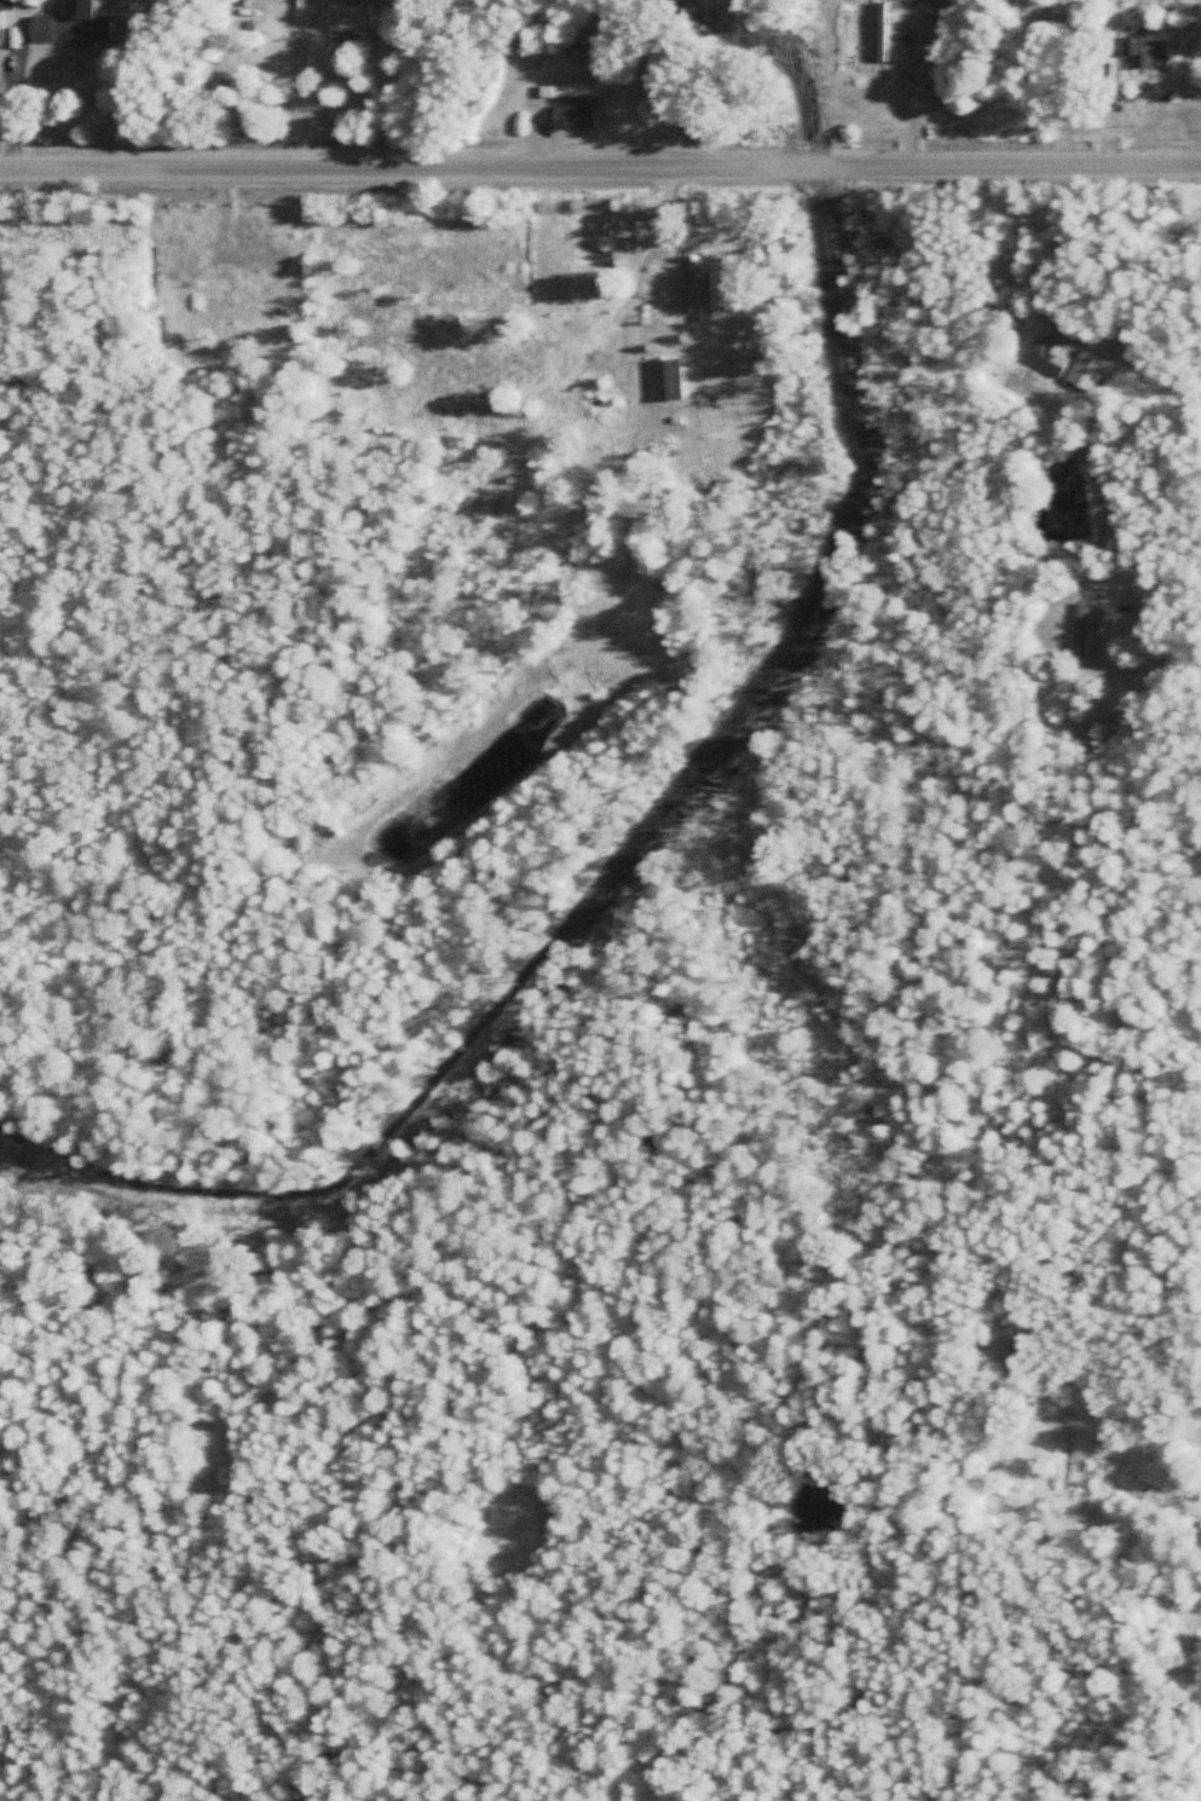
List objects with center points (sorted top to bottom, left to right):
building: (7, 4)
building: (350, 17)
building: (70, 24)
building: (576, 33)
building: (1145, 54)
building: (876, 82)
building: (637, 87)
road: (290, 98)
building: (570, 116)
road: (600, 169)
building: (693, 287)
road: (1160, 291)
building: (1047, 356)
building: (666, 380)
building: (1081, 631)
road: (1115, 642)
road: (1180, 658)
building: (1164, 1500)

